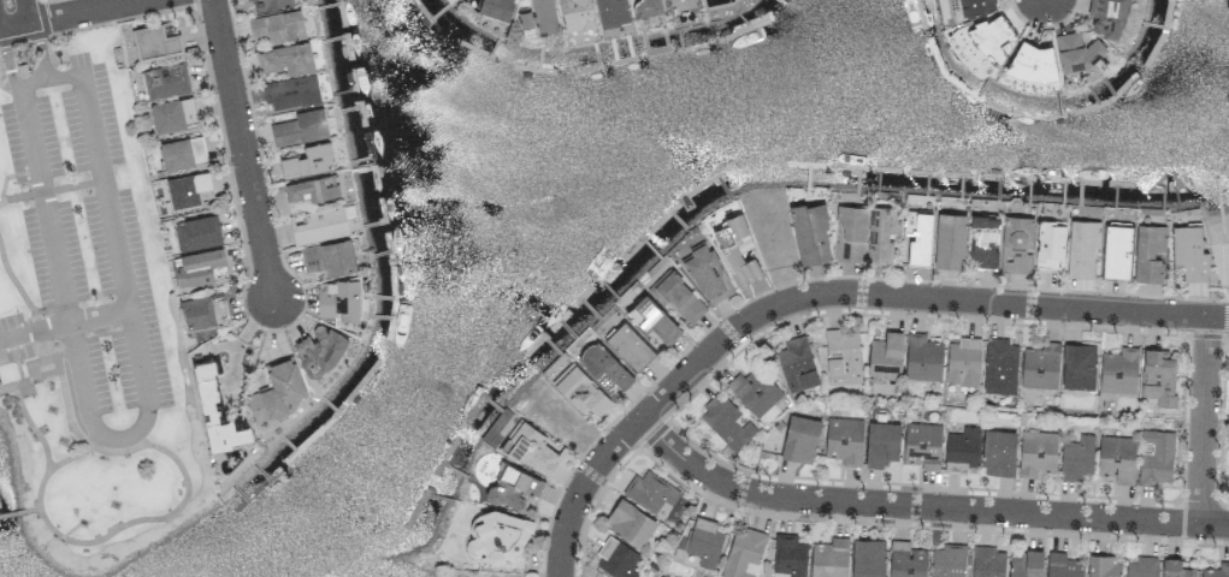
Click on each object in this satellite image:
building: (680, 2)
building: (268, 4)
building: (976, 5)
building: (645, 7)
building: (495, 8)
road: (79, 11)
road: (18, 12)
building: (611, 12)
building: (575, 14)
building: (539, 16)
building: (1107, 17)
road: (11, 25)
building: (278, 26)
building: (992, 37)
building: (155, 41)
road: (4, 46)
road: (43, 46)
road: (8, 50)
building: (1077, 50)
building: (286, 58)
building: (1032, 60)
building: (166, 79)
building: (291, 93)
building: (173, 114)
building: (300, 127)
road: (244, 148)
building: (182, 153)
building: (307, 160)
road: (6, 179)
building: (188, 189)
building: (312, 189)
road: (53, 191)
building: (320, 225)
building: (197, 232)
building: (810, 233)
building: (850, 233)
building: (880, 234)
building: (918, 237)
building: (950, 239)
building: (985, 240)
building: (1050, 243)
building: (1017, 244)
building: (1081, 248)
building: (735, 249)
building: (1116, 250)
building: (1189, 251)
building: (1148, 252)
building: (329, 257)
parking lot: (88, 258)
building: (200, 267)
building: (707, 273)
road: (14, 284)
building: (678, 297)
road: (823, 297)
building: (339, 302)
building: (197, 313)
park: (89, 314)
building: (654, 319)
road: (65, 326)
road: (39, 331)
parking lot: (12, 338)
building: (628, 345)
building: (318, 350)
building: (885, 355)
building: (843, 356)
building: (922, 357)
building: (963, 361)
building: (796, 364)
building: (604, 365)
building: (1040, 365)
building: (1079, 365)
building: (1000, 367)
building: (1118, 370)
road: (41, 376)
building: (1158, 376)
building: (276, 389)
building: (580, 389)
building: (755, 391)
road: (67, 408)
building: (217, 410)
building: (726, 422)
road: (1207, 422)
building: (799, 439)
building: (844, 439)
road: (118, 441)
building: (881, 444)
building: (922, 445)
building: (1228, 446)
building: (531, 448)
building: (962, 450)
building: (998, 452)
building: (1036, 452)
building: (1076, 457)
building: (1156, 457)
building: (1116, 458)
building: (513, 486)
building: (651, 492)
road: (924, 508)
road: (25, 513)
road: (8, 517)
road: (131, 522)
building: (630, 522)
building: (500, 535)
building: (705, 541)
building: (743, 552)
building: (788, 554)
building: (829, 558)
building: (868, 558)
building: (616, 559)
building: (905, 560)
building: (947, 560)
building: (987, 563)
building: (1027, 564)
building: (1062, 565)
building: (1104, 565)
building: (1141, 566)
building: (1176, 569)
building: (1216, 570)

